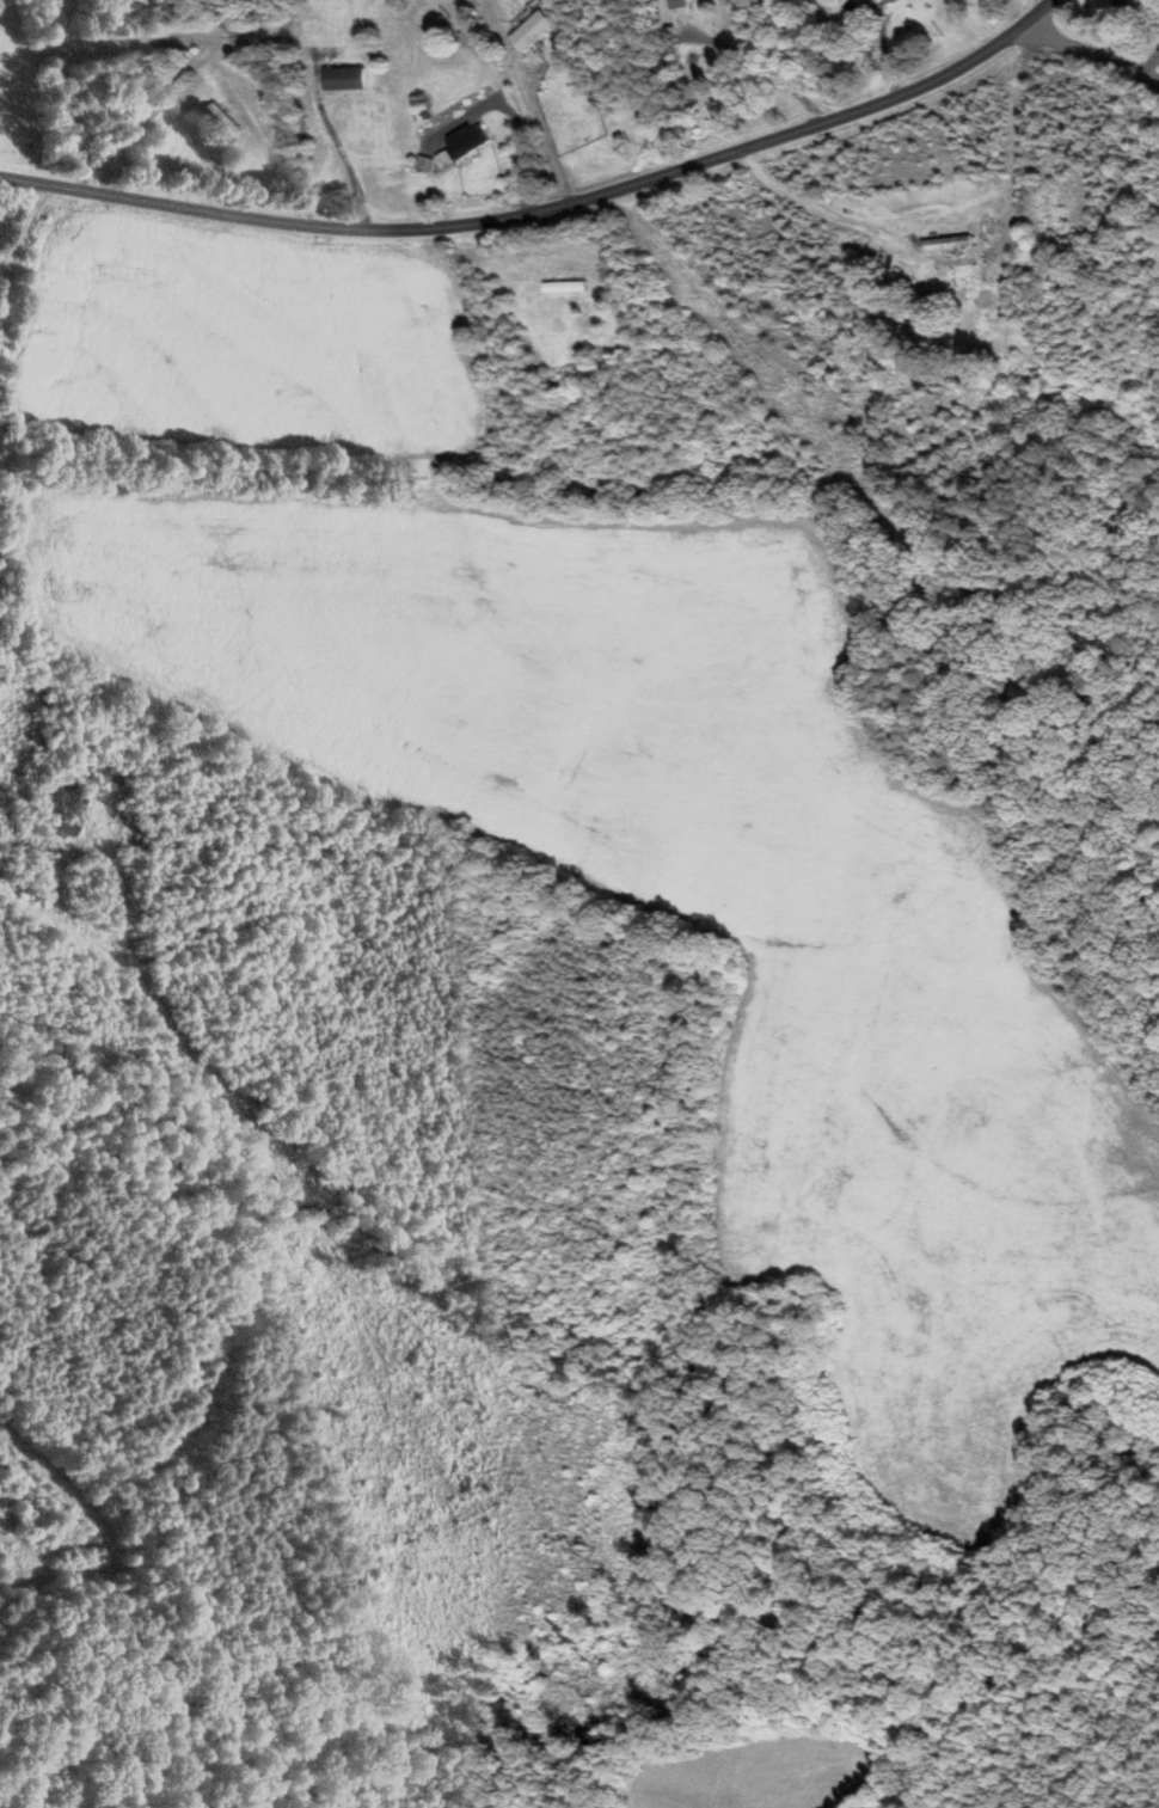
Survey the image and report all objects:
building: (816, 0)
building: (680, 4)
building: (538, 31)
road: (1091, 55)
building: (352, 79)
building: (232, 119)
building: (473, 142)
road: (550, 143)
road: (344, 149)
road: (1010, 203)
road: (546, 210)
building: (945, 245)
road: (16, 256)

